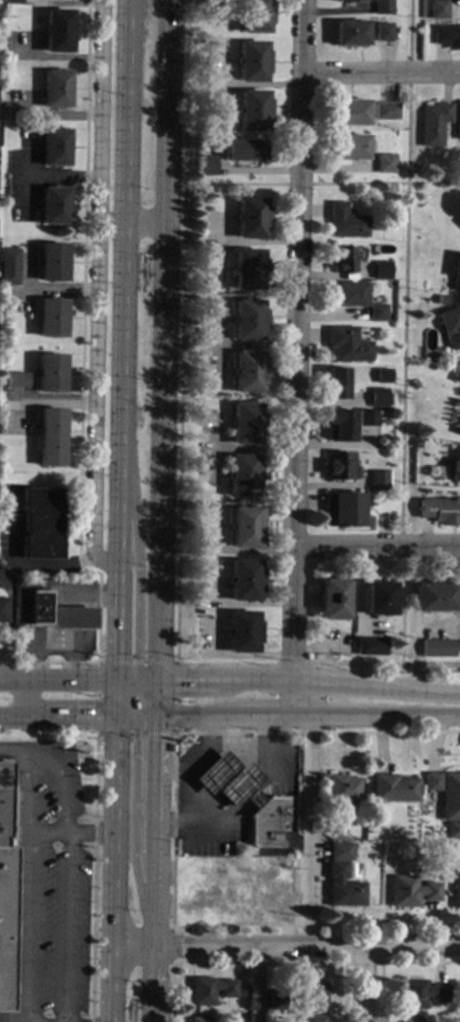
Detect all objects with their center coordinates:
building: (457, 0)
building: (348, 1)
building: (13, 2)
building: (381, 8)
building: (437, 10)
building: (254, 16)
building: (57, 32)
building: (382, 32)
building: (348, 34)
building: (446, 37)
building: (251, 62)
road: (380, 75)
building: (55, 89)
building: (252, 111)
road: (100, 112)
building: (385, 112)
building: (349, 113)
building: (457, 122)
building: (433, 124)
building: (55, 148)
building: (350, 148)
building: (244, 151)
building: (385, 165)
building: (204, 167)
road: (322, 185)
building: (5, 205)
building: (54, 206)
road: (121, 206)
building: (250, 219)
building: (458, 222)
building: (345, 224)
road: (131, 225)
building: (343, 260)
building: (52, 263)
building: (9, 267)
building: (247, 270)
building: (381, 271)
building: (456, 274)
building: (345, 295)
building: (441, 301)
building: (376, 314)
building: (51, 319)
building: (247, 321)
building: (451, 326)
road: (181, 330)
road: (403, 333)
road: (161, 338)
building: (347, 346)
road: (297, 359)
building: (248, 372)
building: (456, 373)
building: (50, 374)
building: (382, 376)
building: (15, 380)
building: (335, 383)
road: (80, 392)
building: (377, 398)
road: (96, 402)
building: (367, 419)
building: (246, 424)
building: (339, 425)
building: (459, 432)
building: (50, 438)
building: (0, 446)
building: (455, 466)
building: (338, 467)
building: (242, 476)
building: (378, 481)
road: (118, 490)
building: (343, 510)
building: (440, 512)
building: (40, 523)
building: (245, 528)
road: (137, 544)
road: (377, 548)
building: (0, 565)
road: (21, 568)
building: (244, 580)
building: (434, 597)
building: (379, 599)
building: (332, 600)
building: (40, 608)
building: (2, 611)
road: (10, 617)
gas station: (57, 619)
road: (116, 621)
building: (242, 632)
building: (370, 647)
building: (435, 647)
traffic signals: (116, 657)
traffic signals: (138, 657)
road: (96, 662)
road: (286, 662)
road: (223, 664)
road: (381, 665)
road: (421, 671)
road: (127, 676)
road: (147, 677)
road: (5, 678)
traffic signals: (182, 678)
road: (63, 679)
road: (308, 679)
road: (5, 682)
road: (132, 694)
road: (115, 697)
road: (21, 698)
road: (156, 698)
road: (140, 701)
road: (21, 714)
road: (78, 716)
traffic signals: (90, 717)
road: (126, 718)
road: (298, 718)
traffic signals: (155, 740)
traffic signals: (136, 741)
road: (13, 752)
road: (37, 761)
road: (155, 769)
building: (430, 781)
building: (341, 788)
building: (392, 788)
road: (61, 796)
gas station: (238, 797)
building: (450, 803)
building: (268, 819)
road: (133, 825)
building: (334, 829)
road: (307, 832)
road: (71, 833)
road: (173, 833)
building: (435, 833)
building: (338, 851)
road: (113, 870)
road: (93, 878)
road: (154, 881)
parking lot: (49, 885)
building: (455, 885)
building: (342, 886)
building: (410, 891)
road: (29, 892)
building: (5, 899)
road: (68, 927)
road: (133, 942)
road: (306, 945)
road: (171, 946)
road: (390, 962)
road: (258, 963)
road: (362, 963)
road: (153, 976)
road: (254, 983)
road: (360, 984)
building: (210, 989)
building: (420, 993)
building: (314, 995)
building: (275, 999)
road: (152, 1016)
building: (314, 1018)
building: (199, 1019)
building: (407, 1019)

